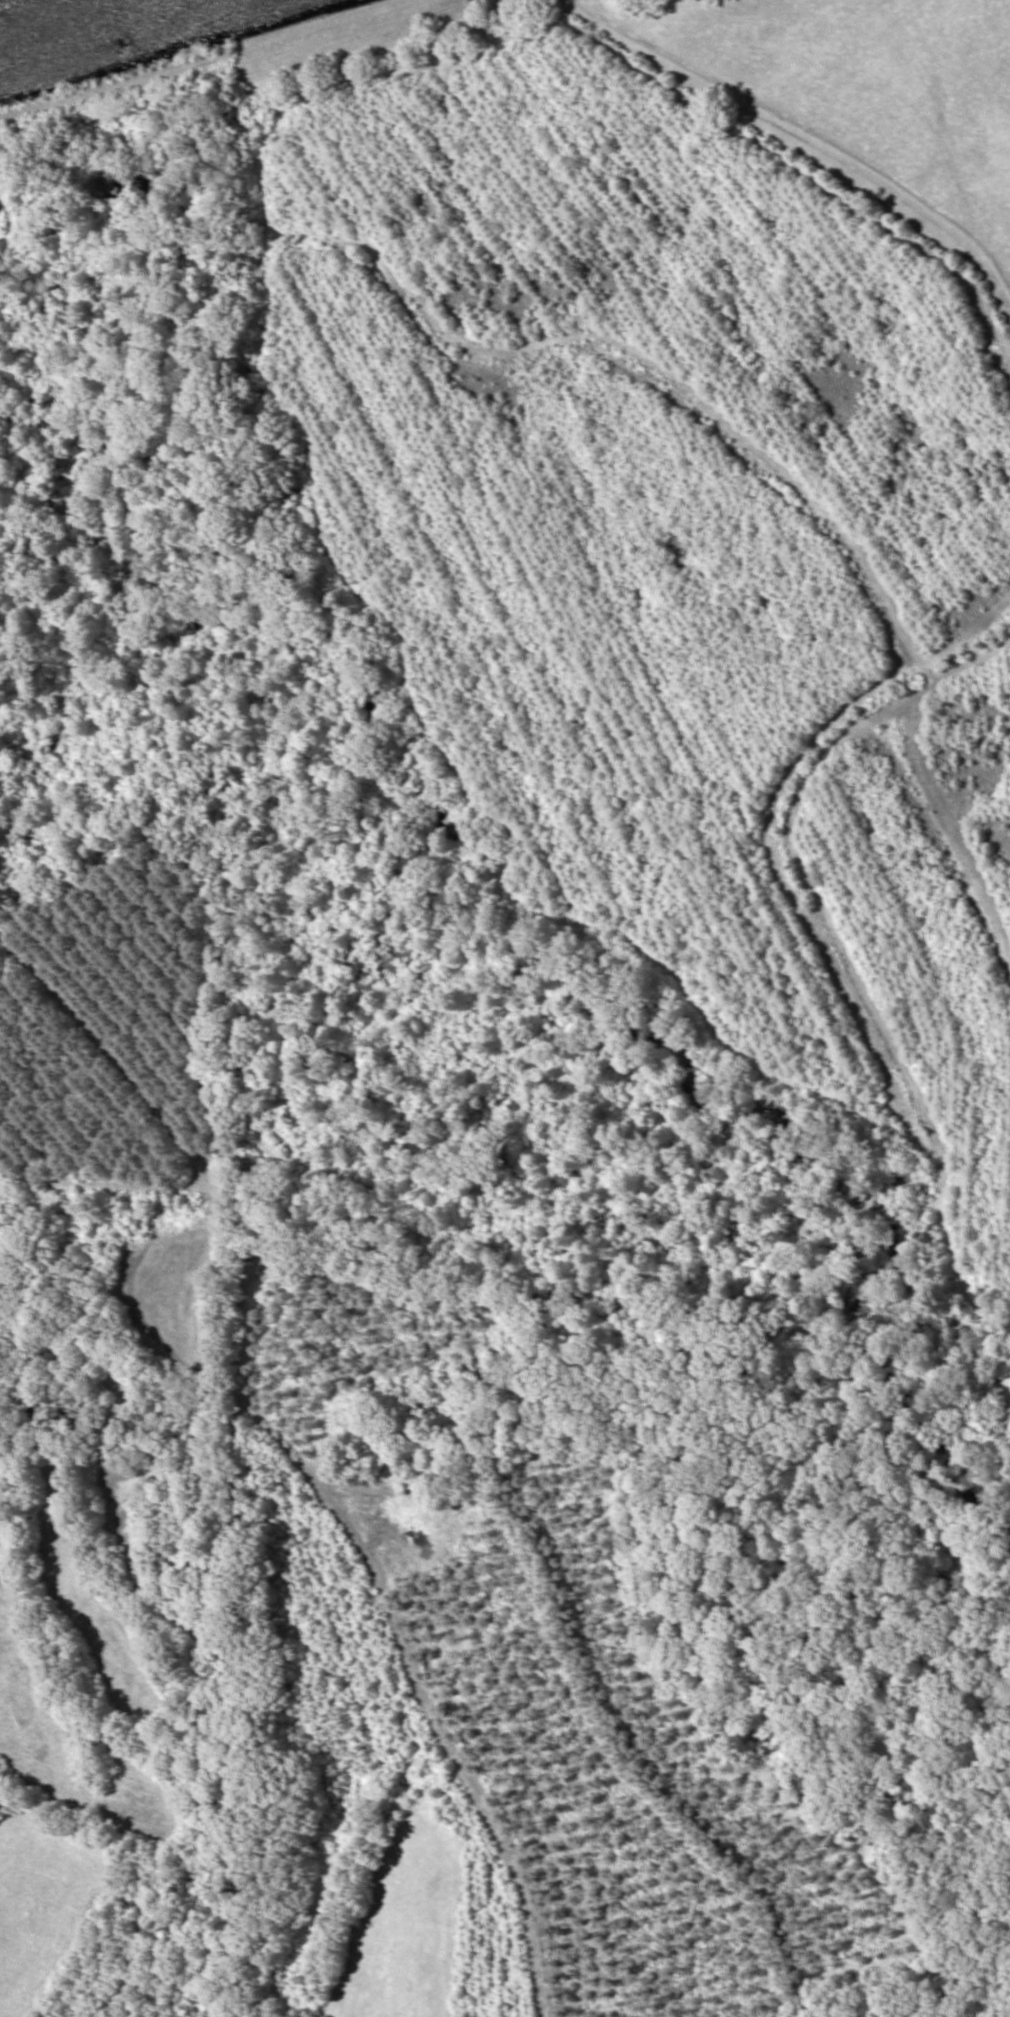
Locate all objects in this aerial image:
road: (18, 1216)
road: (370, 1524)

